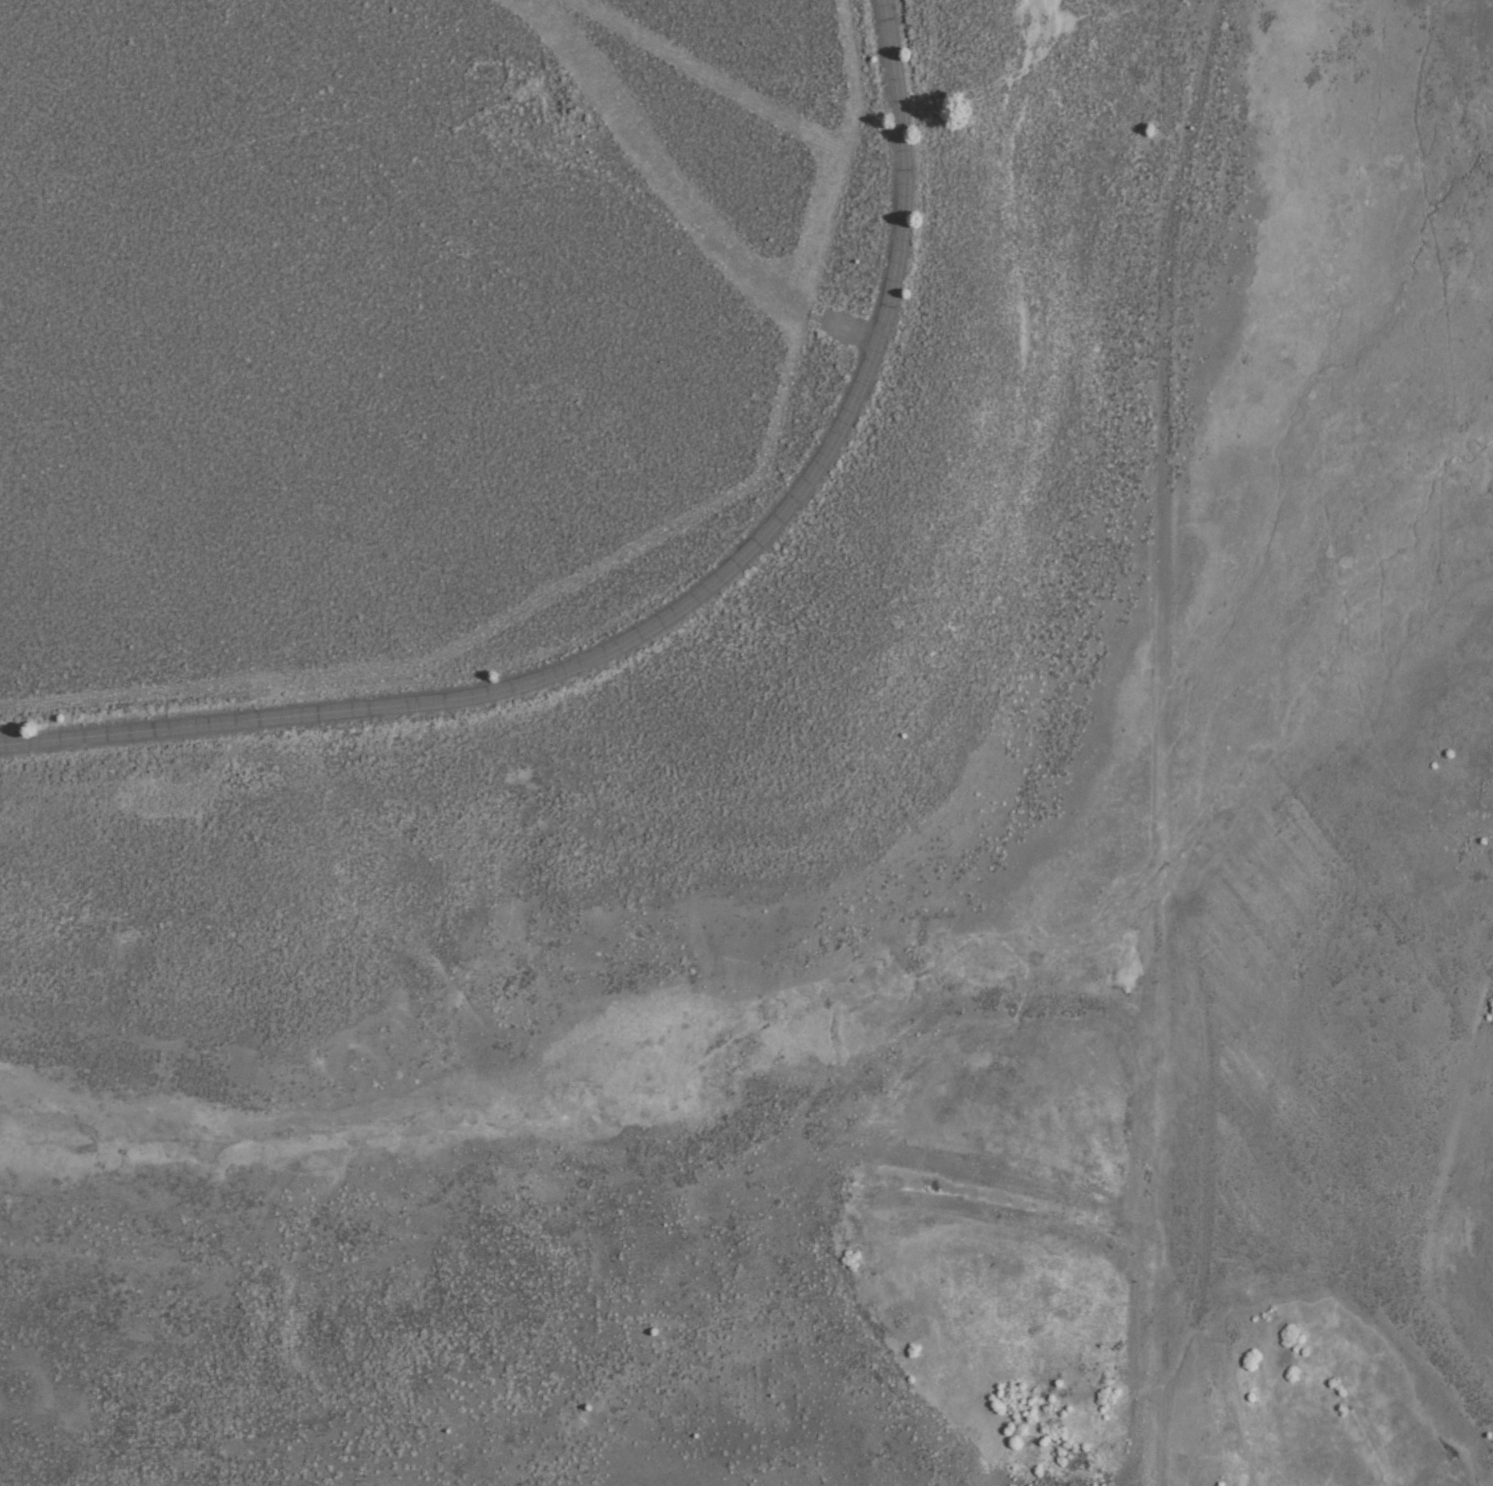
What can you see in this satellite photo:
airport: (385, 307)
road: (669, 612)

